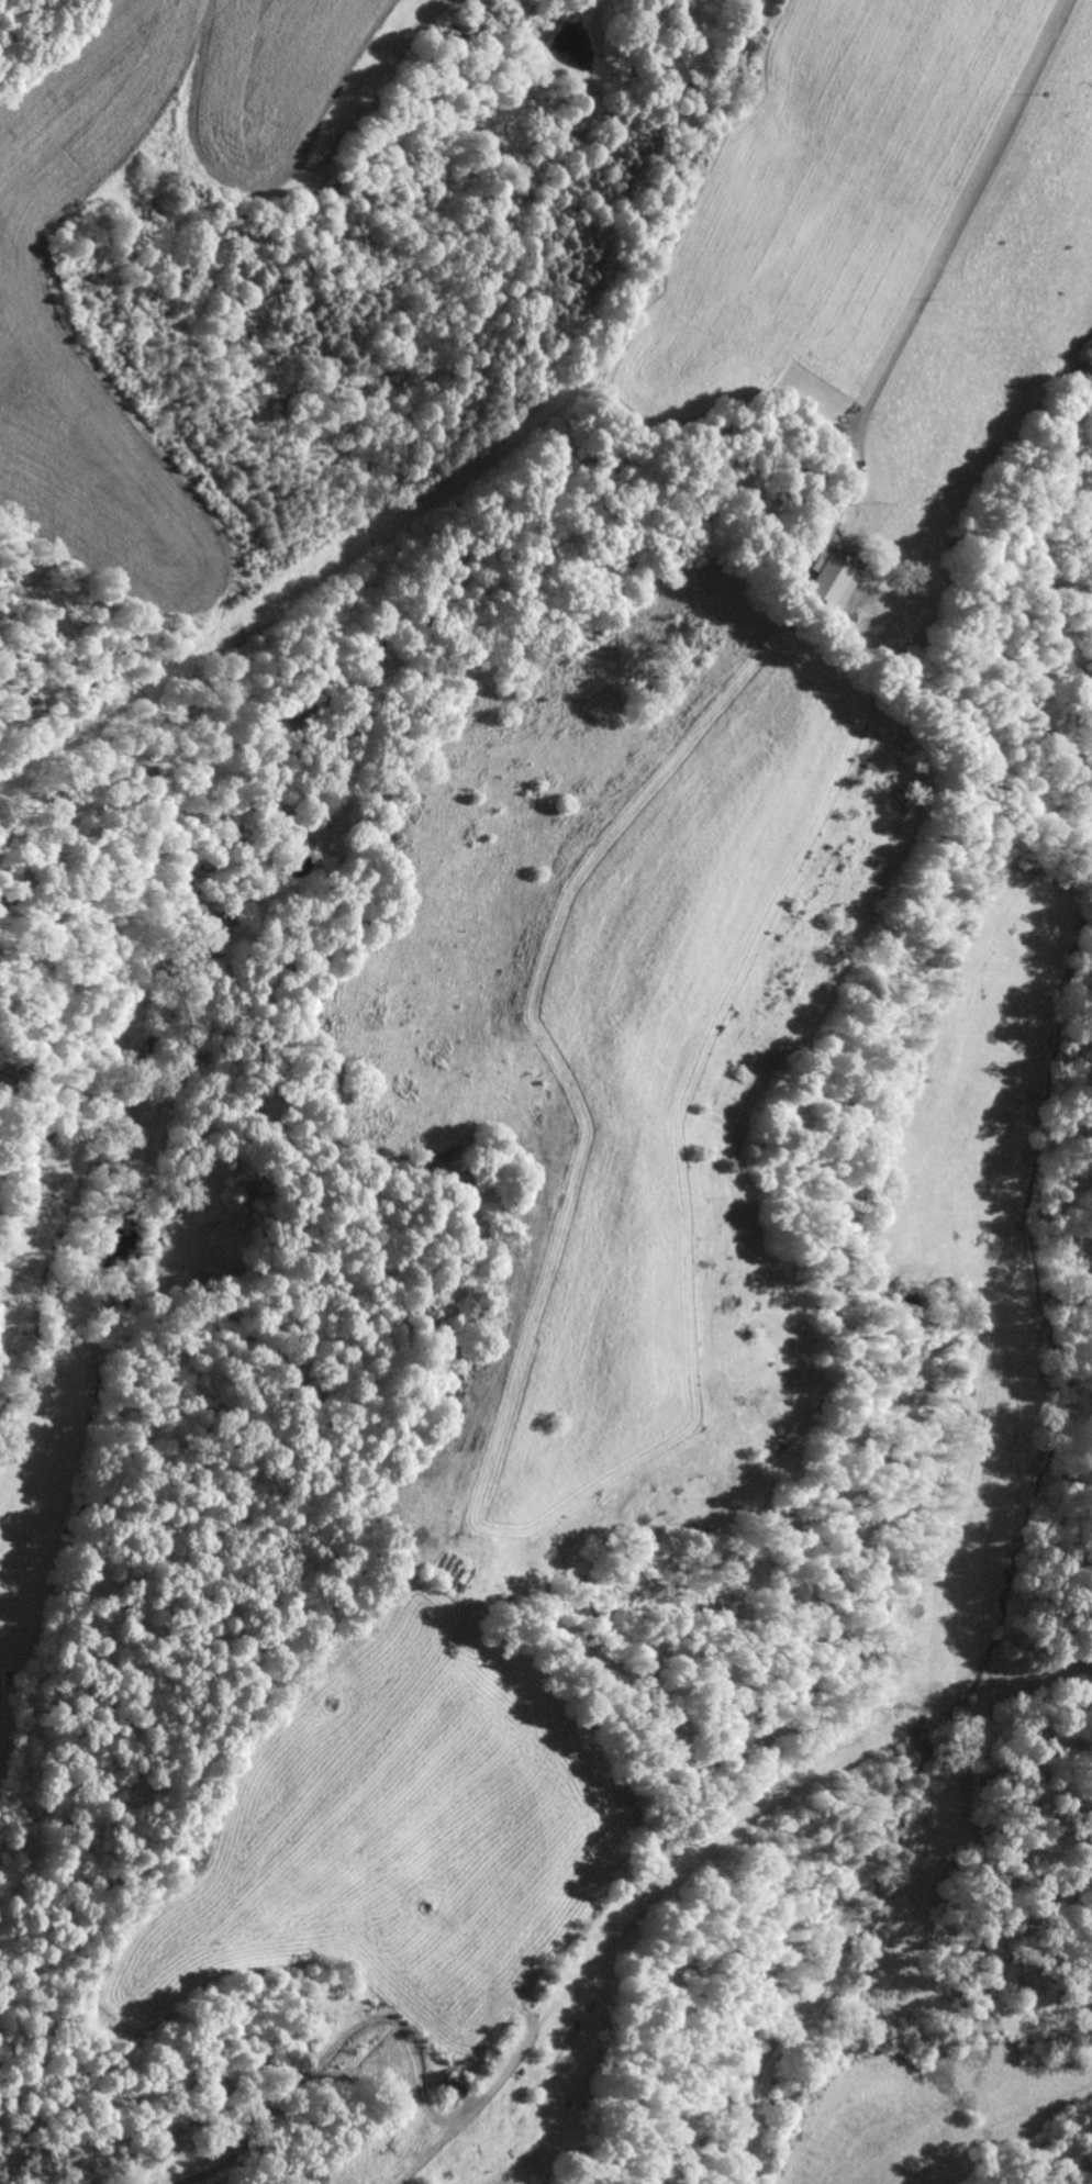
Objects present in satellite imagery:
building: (458, 2084)

